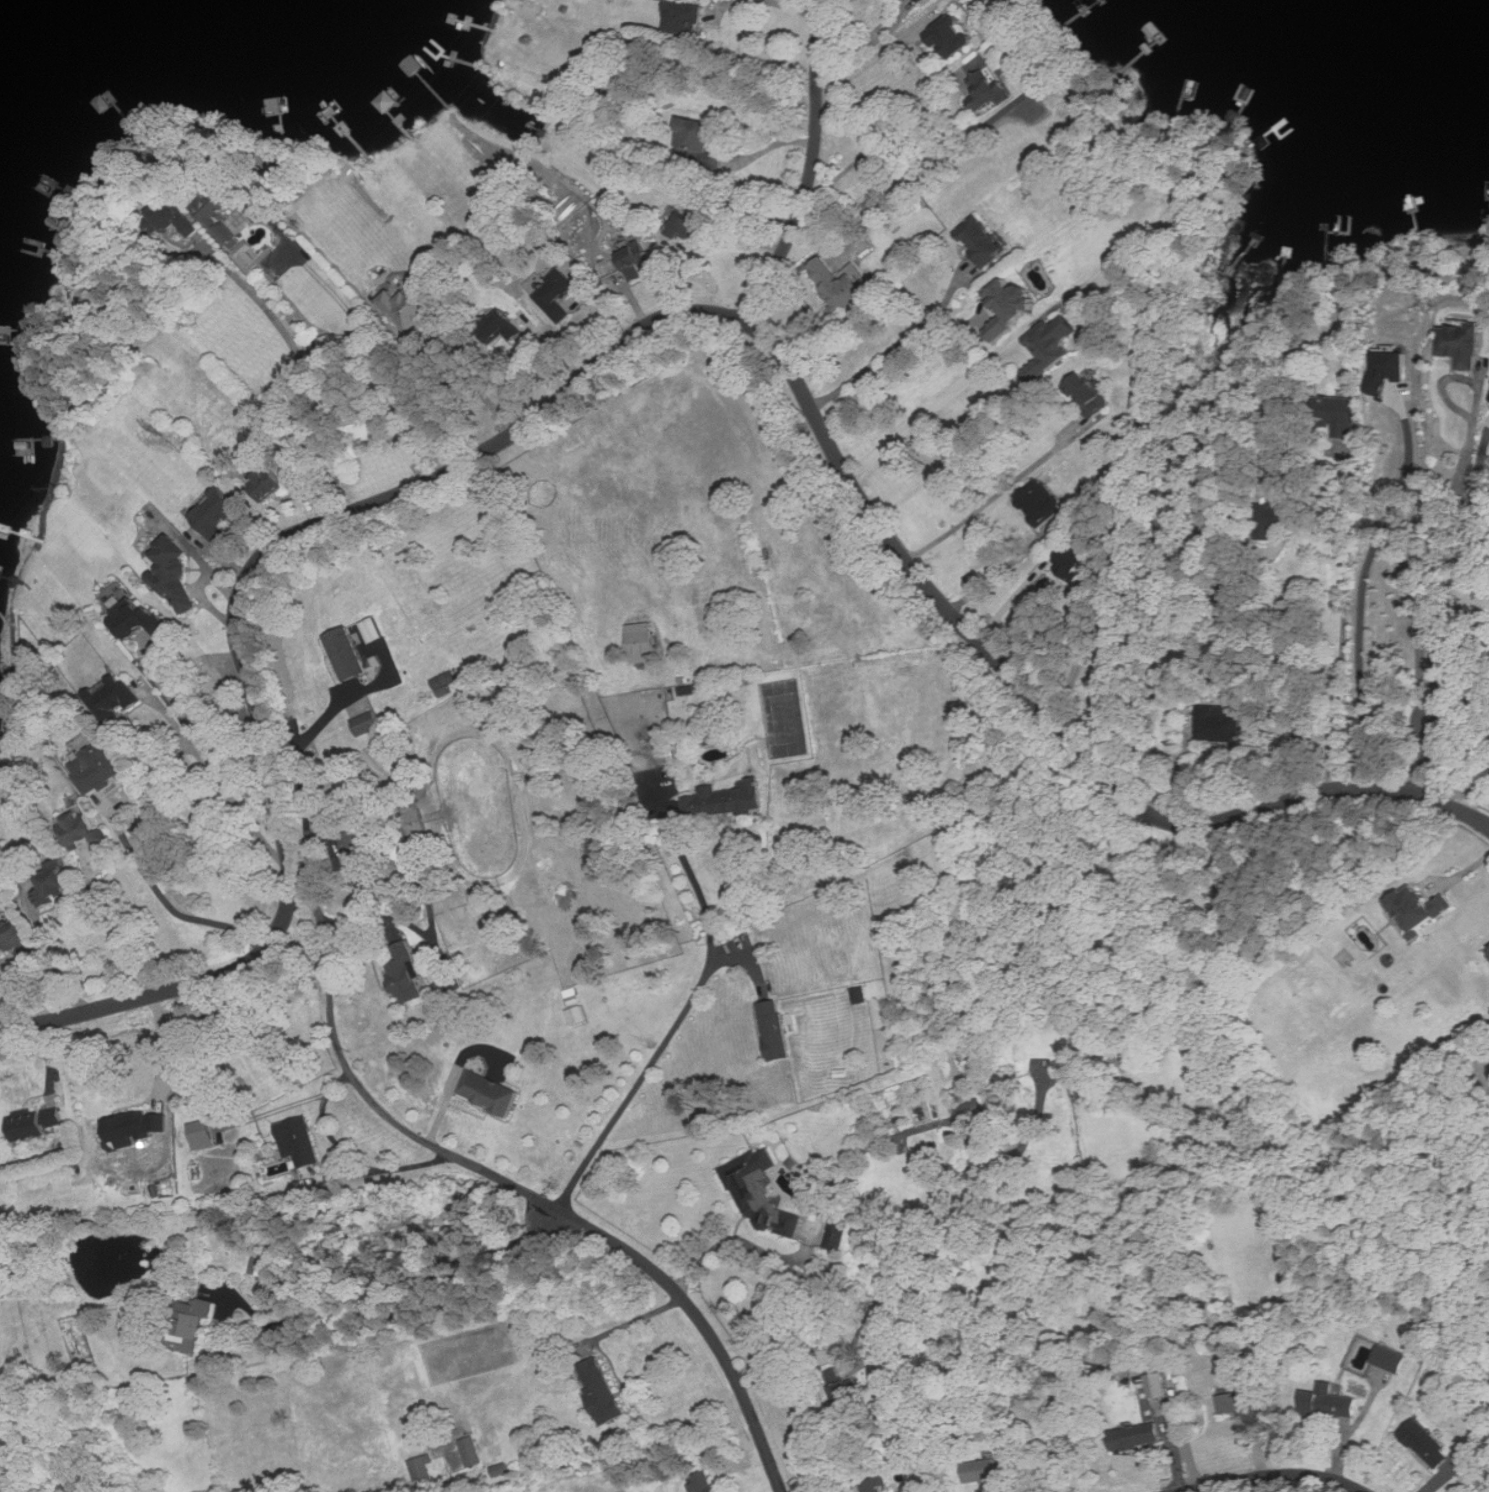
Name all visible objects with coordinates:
building: (923, 1)
road: (789, 8)
building: (688, 18)
building: (953, 34)
road: (866, 46)
road: (869, 64)
building: (988, 89)
building: (387, 100)
building: (696, 132)
road: (874, 140)
road: (811, 168)
building: (215, 218)
building: (984, 240)
building: (635, 255)
building: (841, 284)
building: (556, 289)
building: (1014, 297)
building: (413, 305)
road: (627, 340)
building: (1463, 344)
building: (1051, 345)
road: (893, 348)
road: (378, 355)
road: (892, 368)
building: (1389, 369)
road: (314, 370)
road: (468, 379)
building: (1090, 394)
road: (931, 411)
building: (1343, 419)
power tower: (184, 439)
road: (989, 496)
building: (1045, 502)
building: (219, 514)
road: (1431, 552)
building: (1074, 560)
building: (176, 574)
road: (999, 574)
road: (1450, 581)
road: (1359, 597)
road: (1010, 602)
building: (142, 620)
road: (1344, 636)
building: (643, 642)
building: (347, 653)
road: (1460, 681)
building: (443, 683)
building: (695, 689)
building: (116, 698)
road: (1463, 705)
building: (369, 723)
building: (1220, 723)
road: (204, 742)
road: (1425, 758)
building: (100, 767)
road: (1184, 768)
road: (216, 778)
road: (1472, 793)
building: (726, 800)
building: (84, 830)
building: (356, 859)
building: (55, 884)
road: (162, 897)
building: (1422, 909)
road: (406, 920)
road: (111, 928)
building: (19, 940)
road: (49, 952)
building: (407, 975)
building: (860, 994)
road: (675, 1021)
building: (776, 1030)
road: (160, 1048)
building: (491, 1092)
building: (36, 1122)
road: (402, 1127)
building: (134, 1128)
building: (203, 1134)
building: (300, 1140)
road: (351, 1155)
building: (759, 1192)
building: (837, 1235)
building: (267, 1266)
road: (398, 1283)
building: (186, 1324)
road: (632, 1324)
road: (798, 1350)
building: (1390, 1359)
building: (1157, 1385)
building: (845, 1390)
building: (601, 1391)
building: (1330, 1402)
building: (1242, 1405)
building: (1137, 1437)
building: (1428, 1444)
building: (471, 1451)
building: (424, 1468)
building: (982, 1471)
road: (1279, 1475)
road: (1444, 1475)
building: (705, 1481)
building: (876, 1485)

